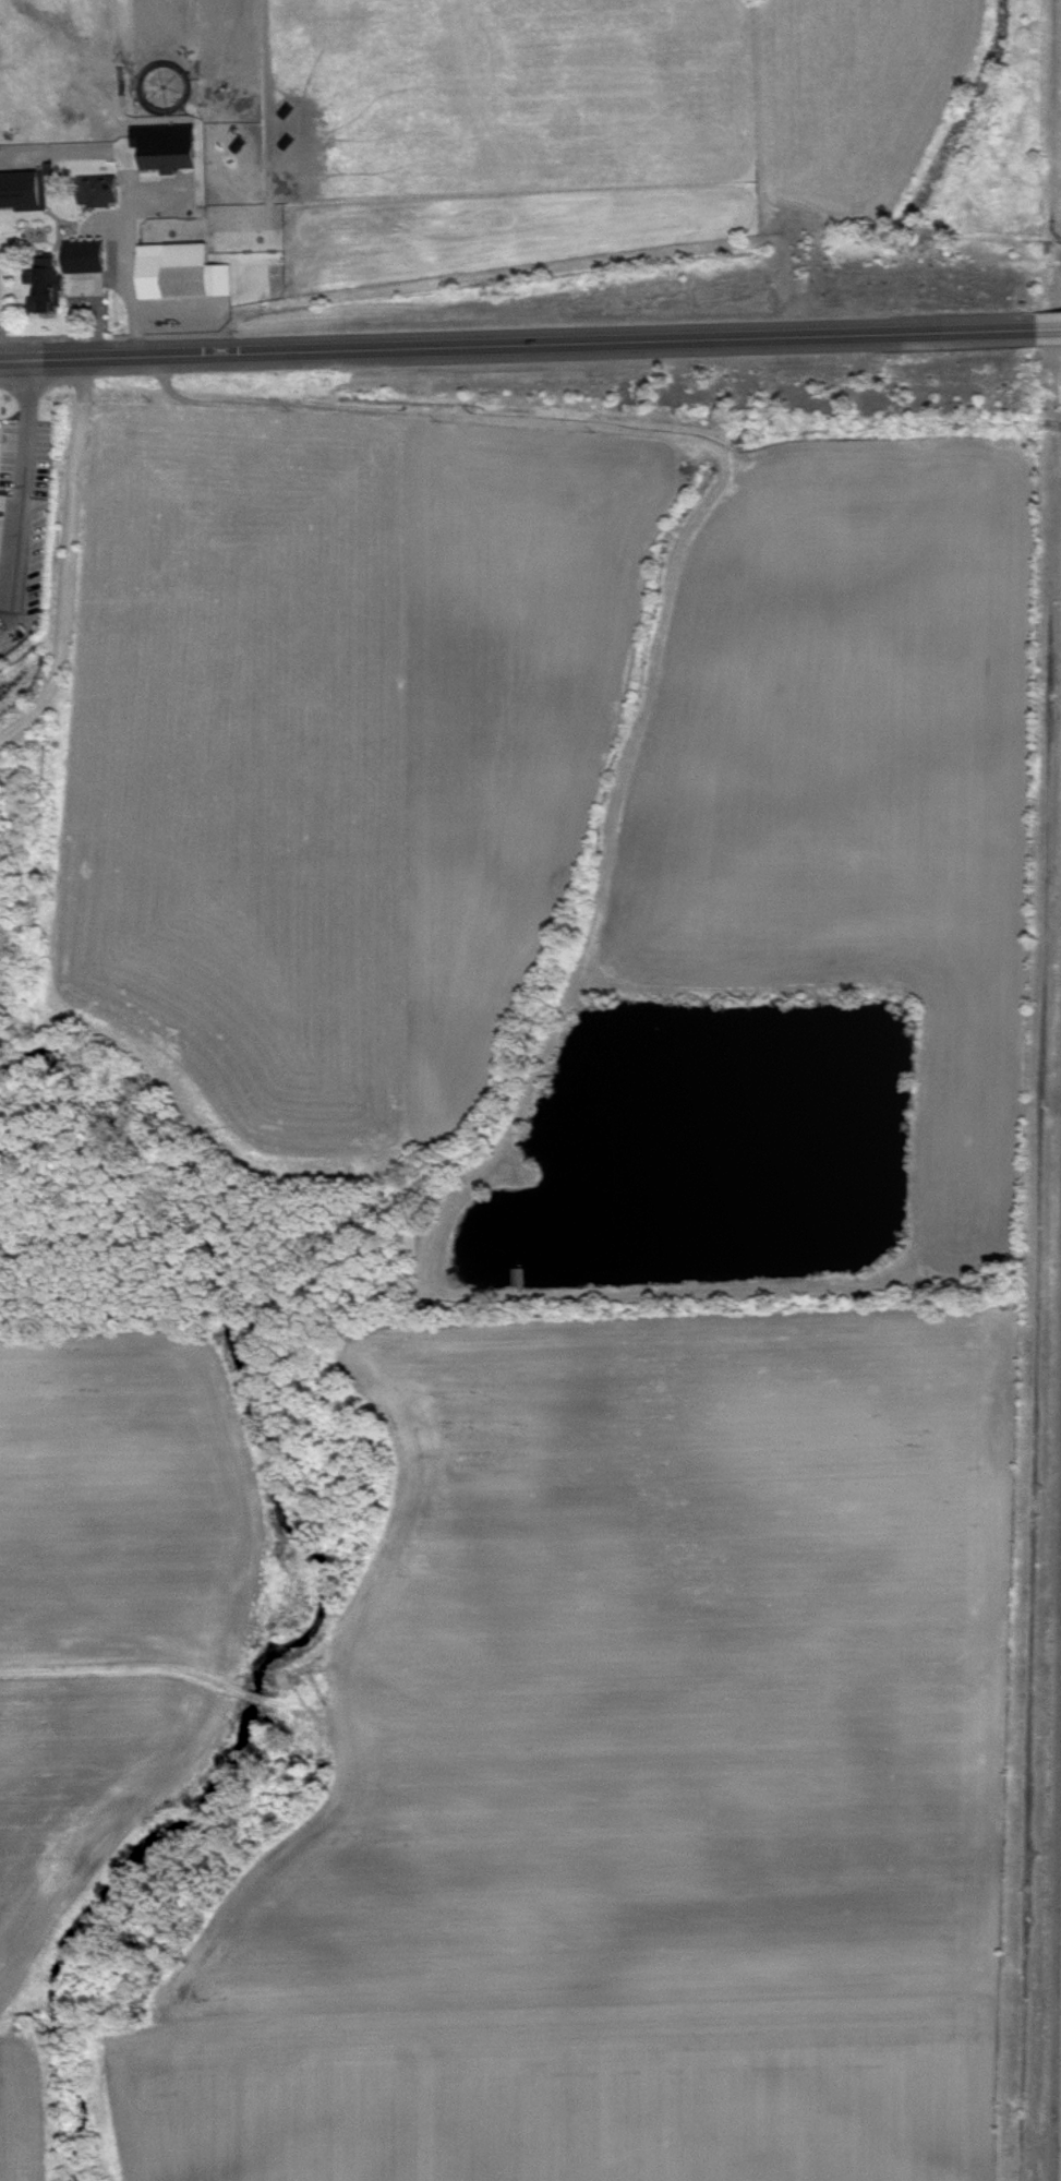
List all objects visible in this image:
building: (172, 153)
building: (24, 196)
building: (104, 196)
building: (91, 262)
building: (188, 277)
building: (50, 292)
road: (1042, 331)
road: (511, 346)
building: (0, 458)
road: (28, 502)
building: (13, 552)
road: (70, 562)

